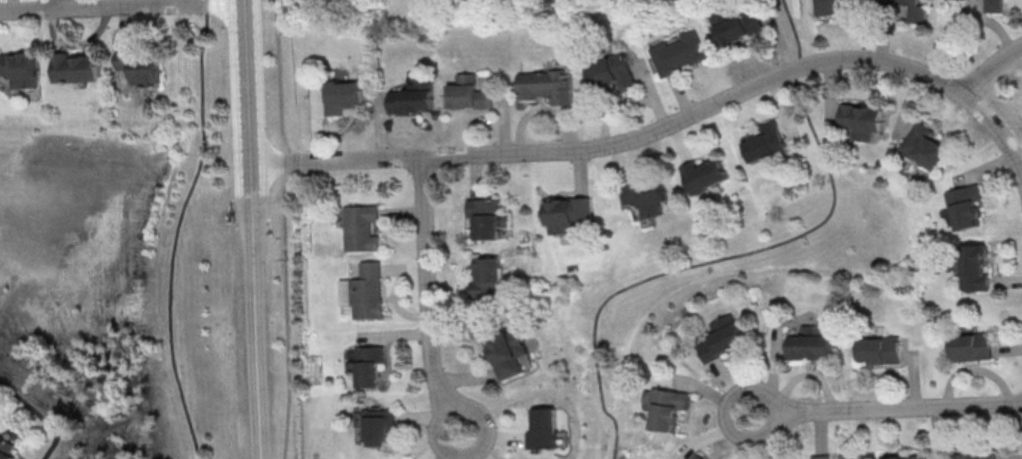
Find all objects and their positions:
road: (64, 4)
road: (113, 5)
building: (834, 6)
building: (992, 6)
building: (910, 9)
building: (737, 26)
building: (676, 54)
building: (140, 66)
building: (75, 67)
building: (22, 68)
road: (988, 68)
building: (612, 72)
building: (125, 77)
building: (543, 86)
building: (469, 93)
building: (344, 96)
building: (413, 97)
building: (862, 119)
road: (998, 136)
road: (617, 142)
building: (763, 143)
building: (921, 148)
building: (706, 174)
building: (646, 199)
building: (961, 206)
building: (568, 214)
building: (487, 217)
road: (285, 228)
road: (178, 229)
road: (253, 229)
building: (360, 229)
road: (746, 253)
building: (972, 269)
building: (487, 280)
road: (429, 284)
building: (368, 293)
building: (722, 337)
building: (811, 343)
building: (970, 347)
building: (878, 350)
building: (371, 365)
road: (738, 388)
road: (903, 406)
road: (449, 409)
building: (667, 410)
road: (38, 416)
building: (381, 426)
building: (548, 430)
building: (6, 449)
building: (974, 455)
building: (700, 456)
building: (822, 456)
building: (849, 456)
building: (904, 457)

